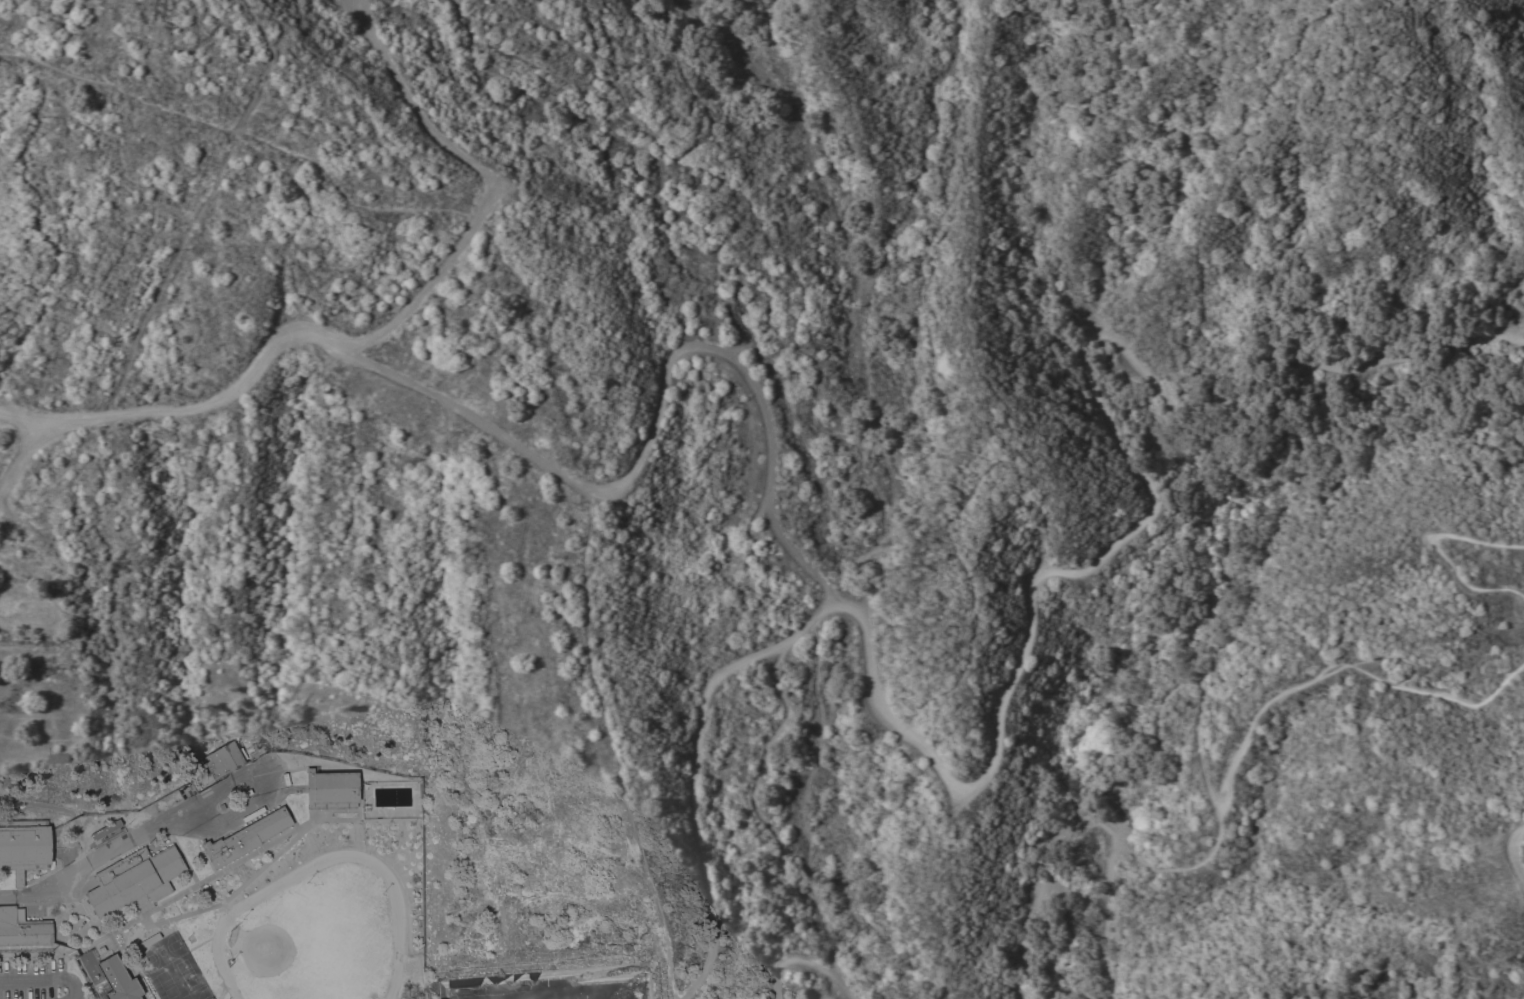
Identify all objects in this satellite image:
road: (485, 182)
road: (794, 275)
road: (18, 417)
road: (18, 457)
road: (545, 464)
park: (747, 490)
road: (1438, 547)
road: (1027, 636)
road: (1295, 692)
road: (614, 742)
building: (61, 758)
building: (224, 760)
road: (266, 788)
building: (331, 790)
road: (65, 810)
building: (105, 830)
building: (245, 838)
building: (24, 847)
road: (1512, 856)
road: (84, 866)
building: (134, 881)
road: (1047, 881)
road: (1105, 921)
building: (22, 929)
building: (148, 942)
road: (802, 958)
building: (118, 980)
road: (43, 982)

